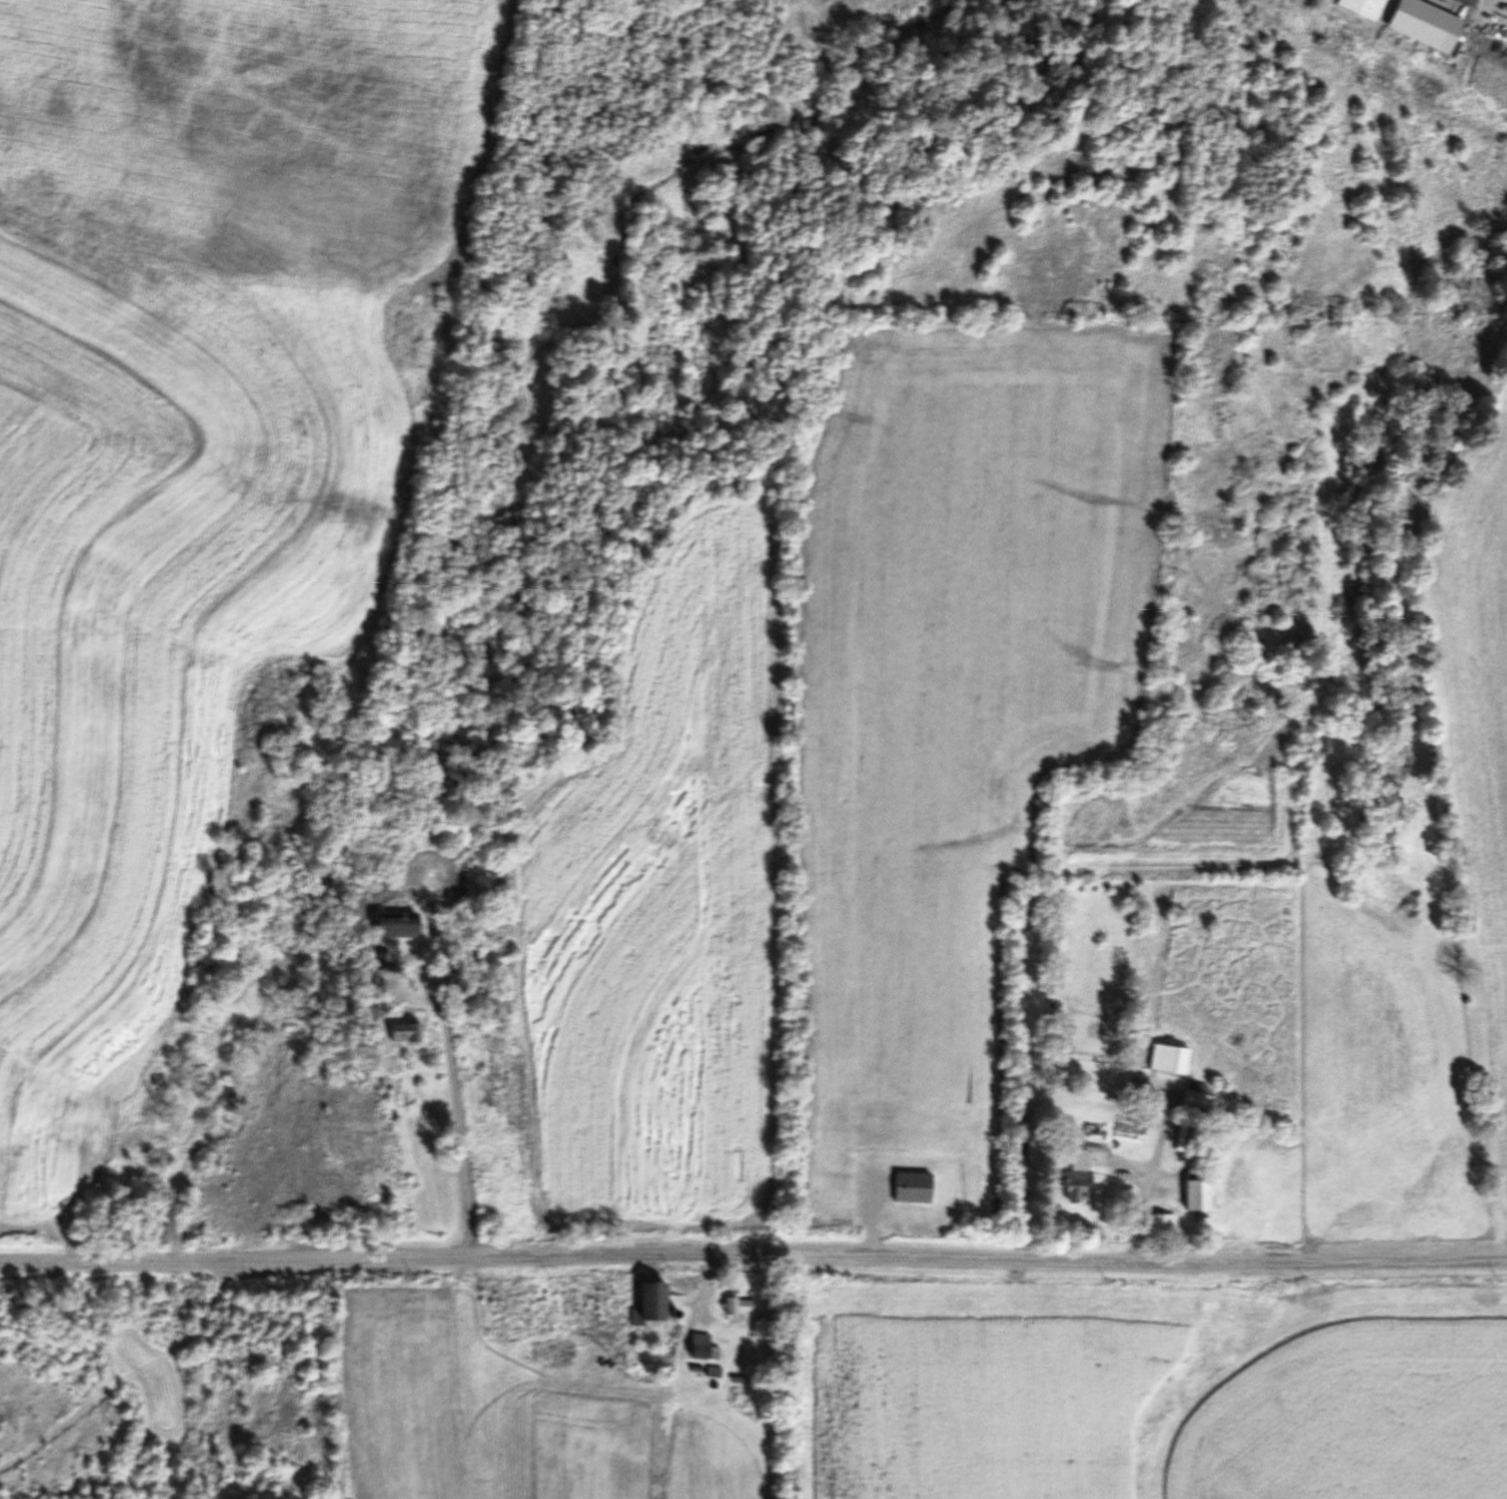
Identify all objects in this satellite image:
building: (1421, 24)
building: (392, 926)
building: (404, 1033)
building: (1195, 1097)
building: (1173, 1149)
building: (910, 1187)
building: (1192, 1195)
building: (1158, 1224)
road: (753, 1255)
building: (649, 1299)
building: (738, 1303)
building: (698, 1345)

